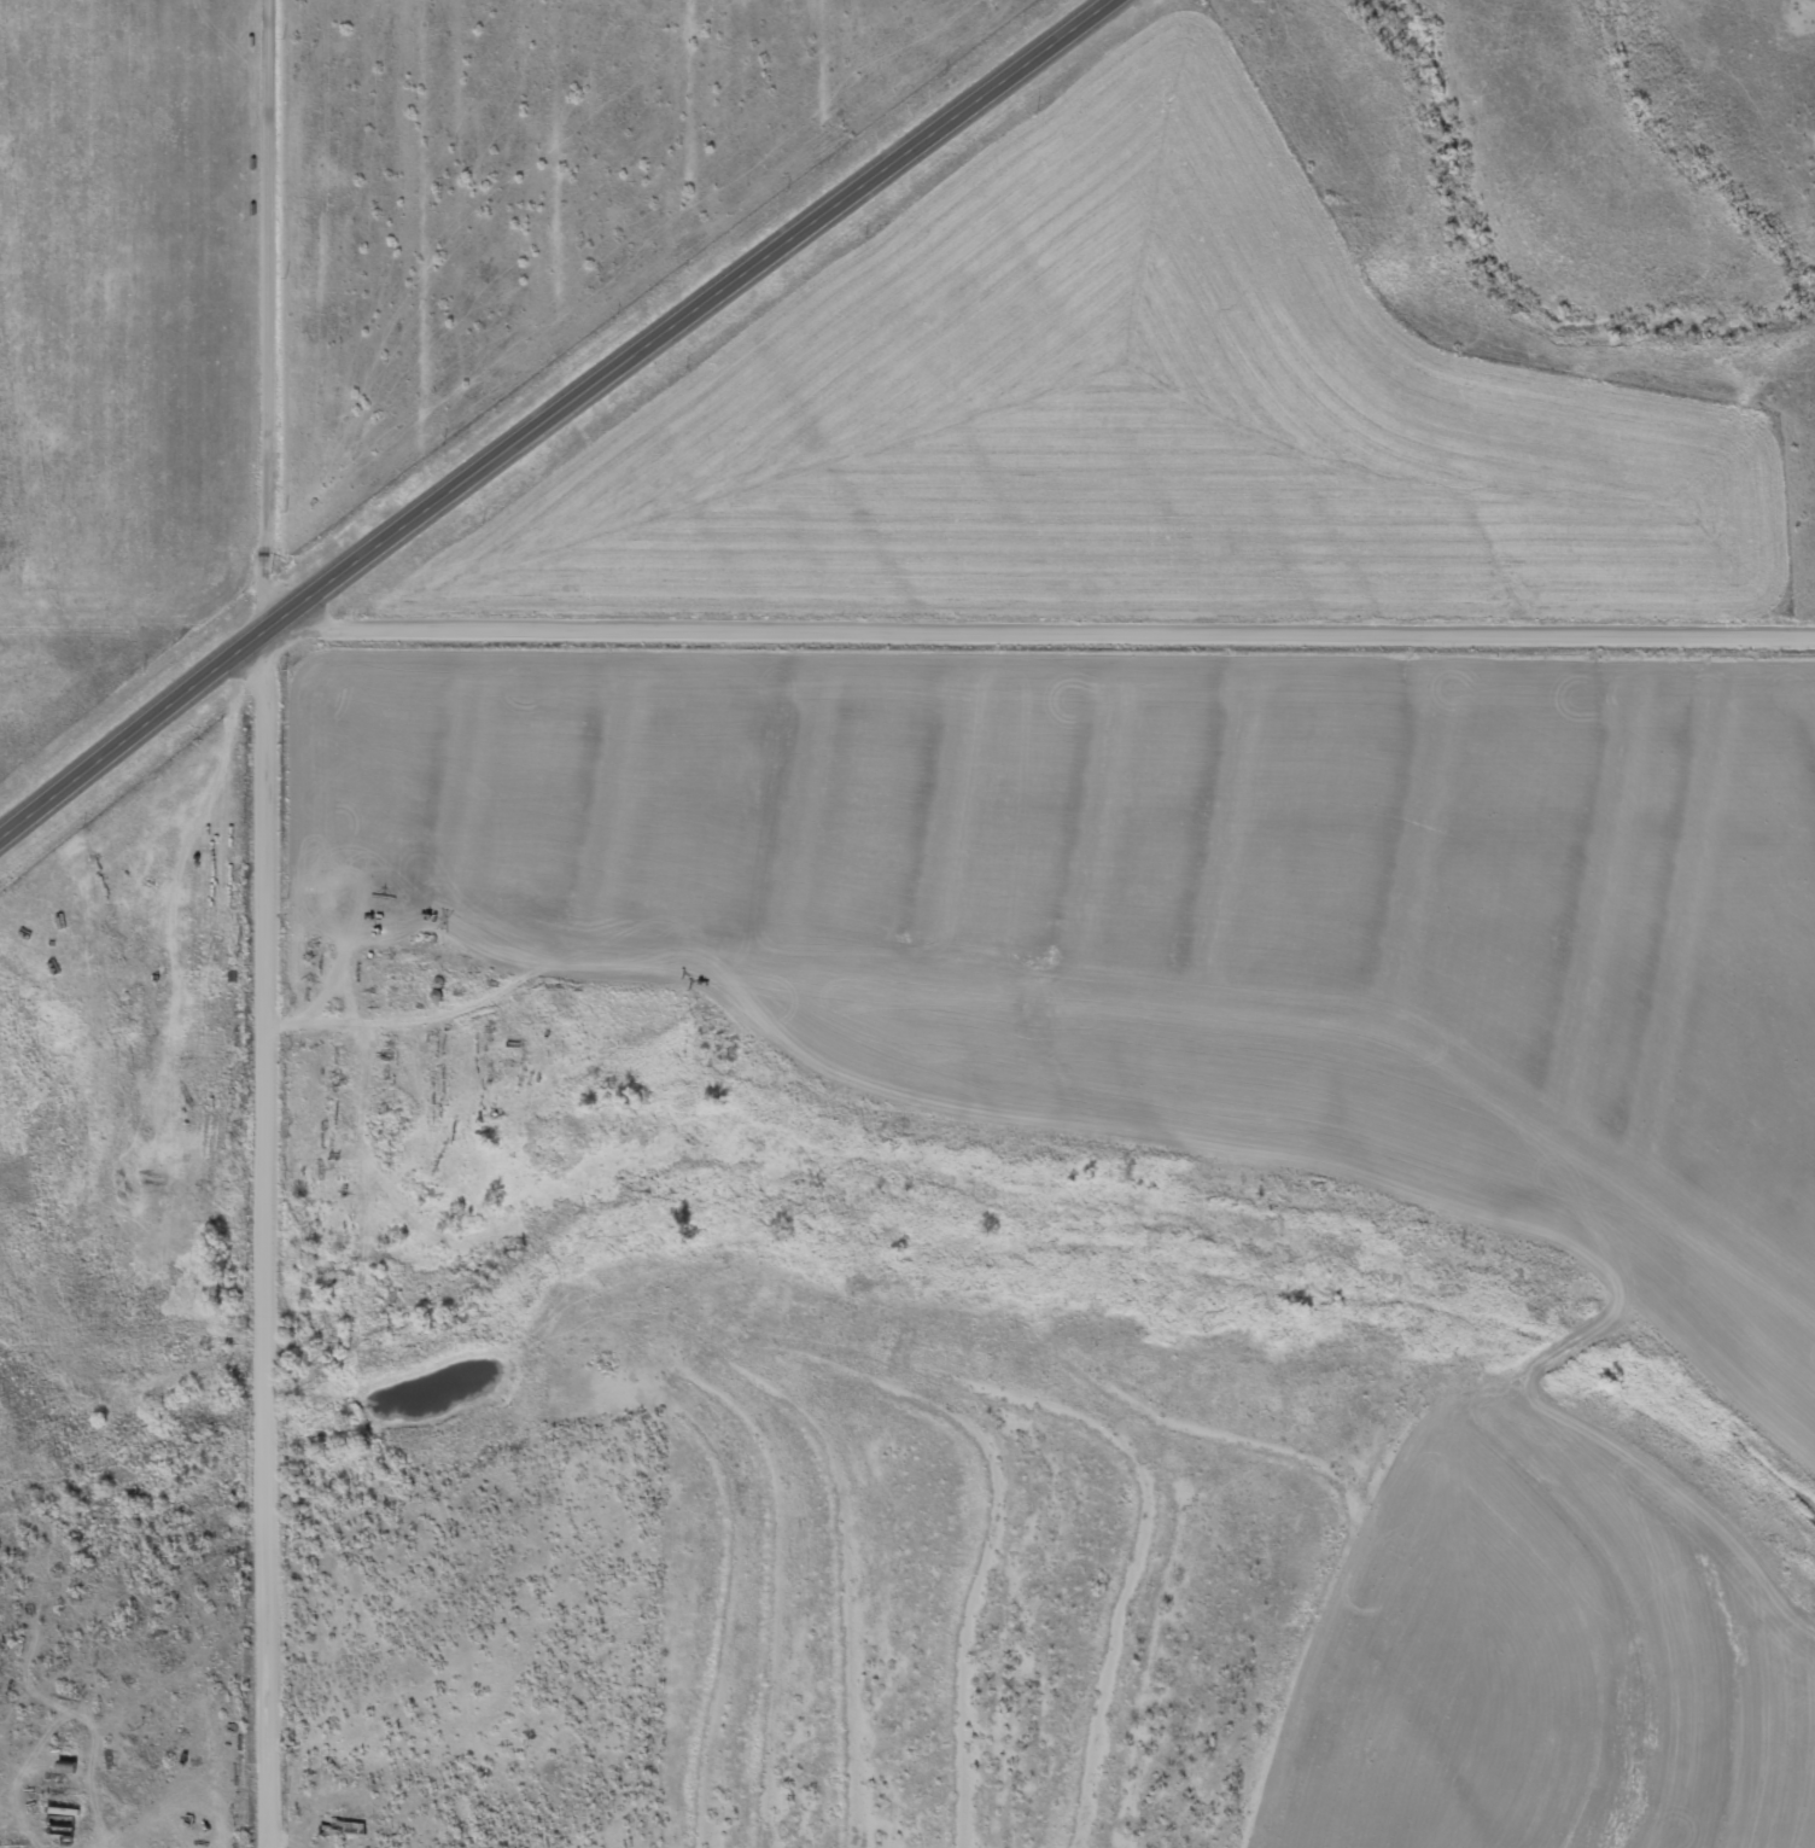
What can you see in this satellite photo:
road: (282, 308)
road: (556, 413)
road: (1046, 630)
road: (267, 1231)

